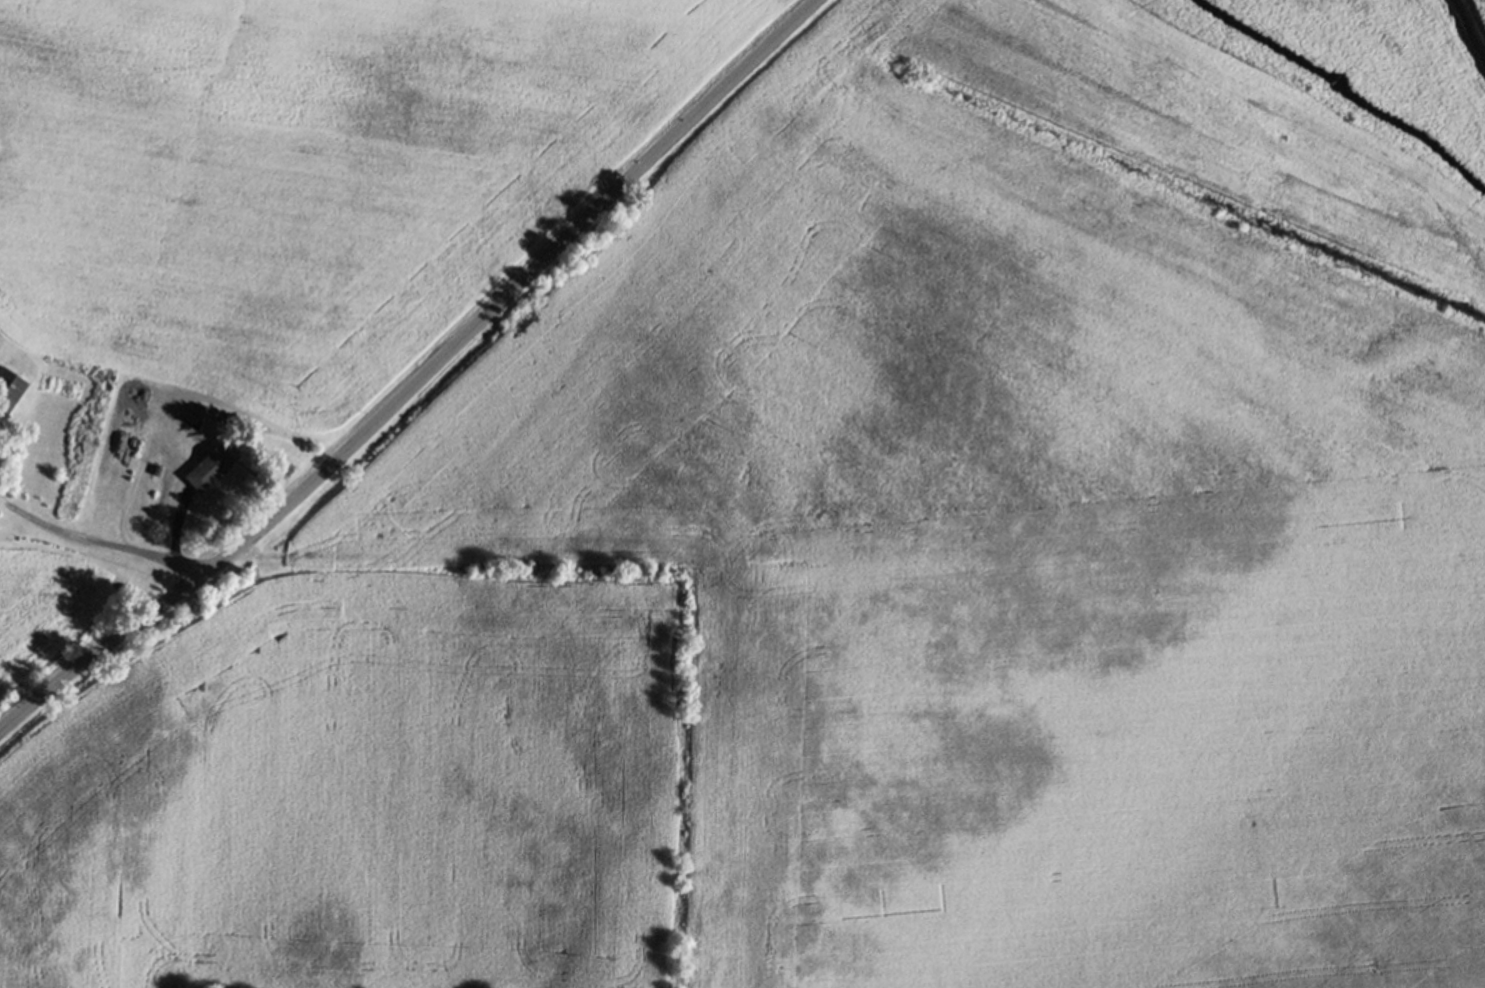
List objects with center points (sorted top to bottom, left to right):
road: (420, 379)
building: (9, 388)
building: (209, 467)
road: (100, 542)
crop: (862, 579)

